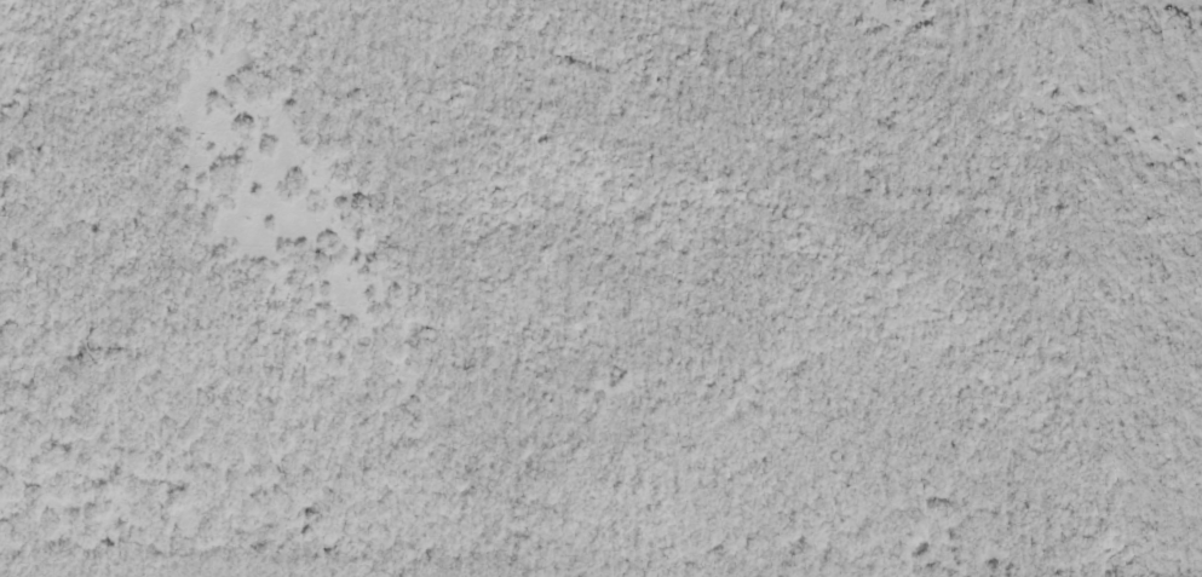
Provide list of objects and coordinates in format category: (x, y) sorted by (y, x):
road: (7, 108)

